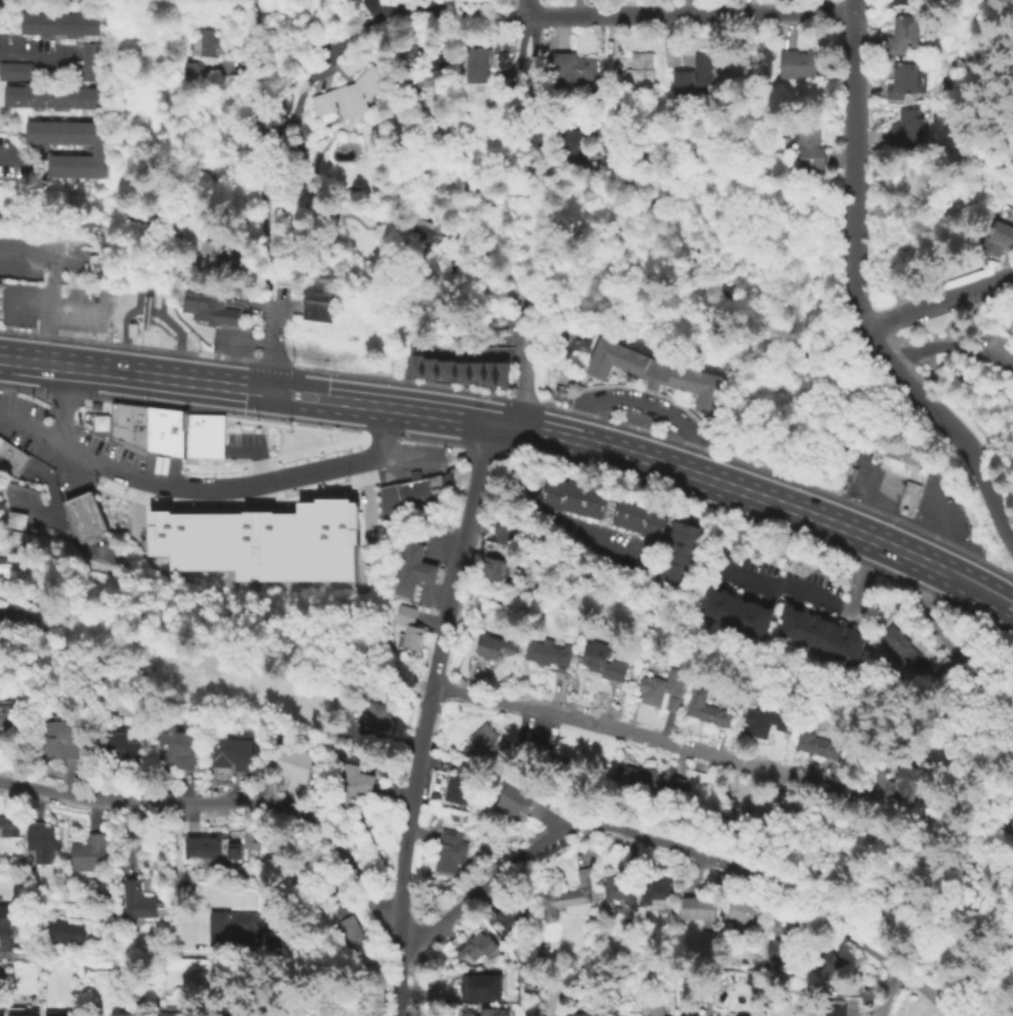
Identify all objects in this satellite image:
building: (906, 2)
road: (855, 5)
road: (255, 7)
road: (526, 7)
road: (691, 12)
road: (451, 14)
road: (267, 15)
road: (363, 15)
building: (58, 23)
building: (902, 34)
building: (204, 42)
road: (260, 42)
road: (31, 55)
building: (89, 61)
building: (477, 62)
building: (803, 63)
building: (428, 65)
building: (574, 66)
building: (15, 70)
building: (193, 70)
building: (637, 73)
building: (696, 75)
building: (902, 80)
road: (527, 83)
building: (350, 94)
building: (50, 95)
building: (908, 126)
building: (576, 147)
building: (809, 147)
building: (96, 148)
building: (298, 151)
road: (7, 155)
parking lot: (8, 158)
road: (855, 171)
road: (265, 185)
building: (426, 233)
building: (996, 242)
building: (215, 244)
building: (93, 262)
road: (490, 269)
road: (52, 281)
building: (313, 284)
parking lot: (47, 289)
road: (892, 289)
parking lot: (139, 297)
road: (893, 302)
parking lot: (159, 303)
road: (938, 304)
road: (30, 305)
road: (149, 308)
road: (80, 310)
building: (206, 310)
building: (316, 310)
road: (896, 311)
building: (131, 329)
road: (17, 331)
road: (44, 333)
road: (86, 339)
road: (124, 344)
road: (272, 346)
parking lot: (1001, 346)
road: (151, 347)
road: (953, 349)
road: (177, 351)
road: (468, 353)
road: (215, 355)
road: (33, 362)
road: (271, 362)
building: (413, 364)
building: (428, 367)
road: (525, 367)
building: (445, 369)
building: (461, 372)
building: (475, 372)
building: (488, 373)
building: (501, 373)
building: (655, 375)
road: (172, 378)
road: (297, 378)
road: (315, 384)
road: (294, 394)
road: (643, 402)
building: (94, 405)
road: (312, 409)
road: (184, 410)
road: (428, 411)
road: (292, 412)
road: (559, 419)
building: (99, 421)
road: (951, 425)
road: (60, 426)
building: (128, 426)
street lamp: (251, 428)
building: (164, 430)
road: (384, 432)
building: (203, 435)
road: (234, 436)
road: (663, 436)
road: (383, 437)
road: (218, 439)
road: (429, 441)
road: (217, 445)
parking lot: (243, 445)
road: (315, 447)
road: (482, 449)
road: (506, 451)
road: (255, 452)
building: (10, 457)
road: (257, 460)
road: (197, 461)
building: (904, 464)
road: (213, 466)
street lamp: (346, 476)
road: (138, 478)
road: (276, 479)
road: (372, 479)
road: (361, 482)
road: (722, 483)
street lamp: (124, 488)
road: (110, 491)
road: (312, 493)
road: (364, 493)
building: (409, 495)
building: (571, 497)
road: (256, 499)
road: (136, 500)
street lamp: (228, 500)
road: (257, 504)
parking lot: (366, 505)
road: (136, 507)
road: (357, 508)
road: (194, 509)
road: (359, 512)
building: (83, 516)
road: (242, 516)
building: (638, 517)
parking lot: (135, 519)
parking lot: (257, 519)
road: (146, 520)
road: (258, 520)
building: (14, 521)
road: (272, 521)
road: (243, 524)
road: (558, 527)
road: (258, 528)
road: (147, 532)
building: (504, 535)
building: (261, 540)
building: (677, 557)
building: (411, 571)
building: (491, 571)
road: (950, 575)
road: (992, 596)
road: (819, 603)
building: (25, 614)
building: (733, 614)
building: (408, 628)
building: (818, 635)
building: (490, 647)
building: (897, 647)
building: (545, 652)
road: (956, 657)
building: (601, 662)
building: (221, 670)
building: (660, 687)
building: (348, 707)
building: (704, 709)
road: (426, 714)
building: (8, 715)
building: (375, 720)
road: (295, 723)
building: (761, 723)
road: (524, 725)
building: (60, 740)
building: (485, 741)
road: (653, 742)
building: (816, 746)
building: (118, 747)
building: (175, 748)
building: (229, 755)
road: (680, 761)
building: (880, 761)
building: (281, 764)
building: (904, 776)
building: (457, 781)
building: (652, 785)
building: (347, 786)
road: (394, 793)
road: (229, 802)
building: (510, 803)
road: (94, 815)
road: (193, 816)
road: (551, 822)
building: (7, 829)
road: (557, 834)
building: (1008, 834)
road: (128, 837)
road: (417, 841)
building: (39, 844)
building: (209, 849)
building: (448, 853)
building: (88, 856)
road: (111, 869)
road: (754, 875)
road: (177, 877)
building: (725, 882)
road: (333, 885)
building: (654, 890)
building: (619, 892)
road: (487, 897)
building: (567, 897)
building: (135, 903)
building: (696, 911)
building: (739, 911)
building: (510, 917)
building: (5, 921)
building: (627, 921)
building: (230, 925)
road: (449, 929)
building: (61, 935)
building: (352, 937)
road: (864, 943)
road: (4, 947)
building: (477, 949)
building: (777, 954)
road: (93, 955)
building: (827, 960)
building: (0, 982)
road: (966, 982)
building: (483, 987)
road: (892, 993)
building: (654, 1008)
building: (831, 1008)
building: (117, 1013)
building: (492, 1013)
road: (868, 1013)
building: (169, 1014)
building: (20, 1015)
building: (58, 1015)
building: (579, 1015)
building: (686, 1015)

